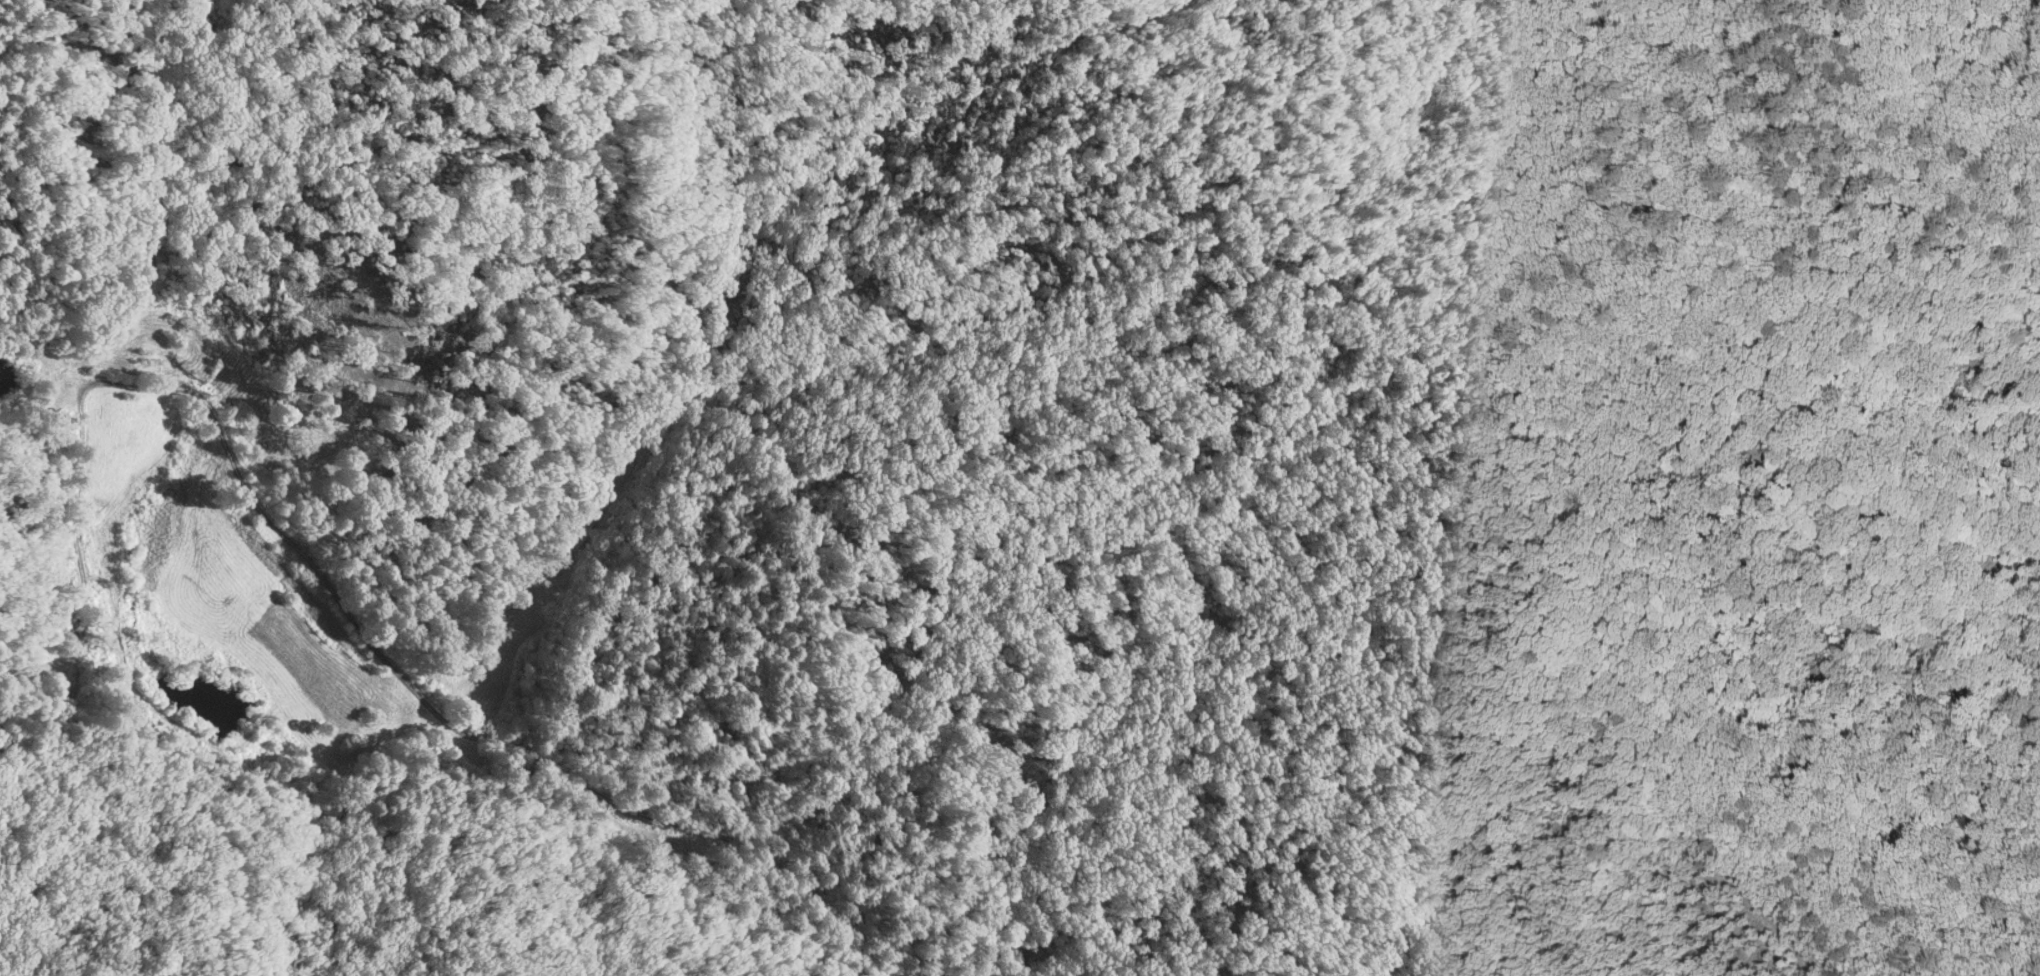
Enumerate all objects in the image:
road: (1569, 384)
road: (334, 594)

